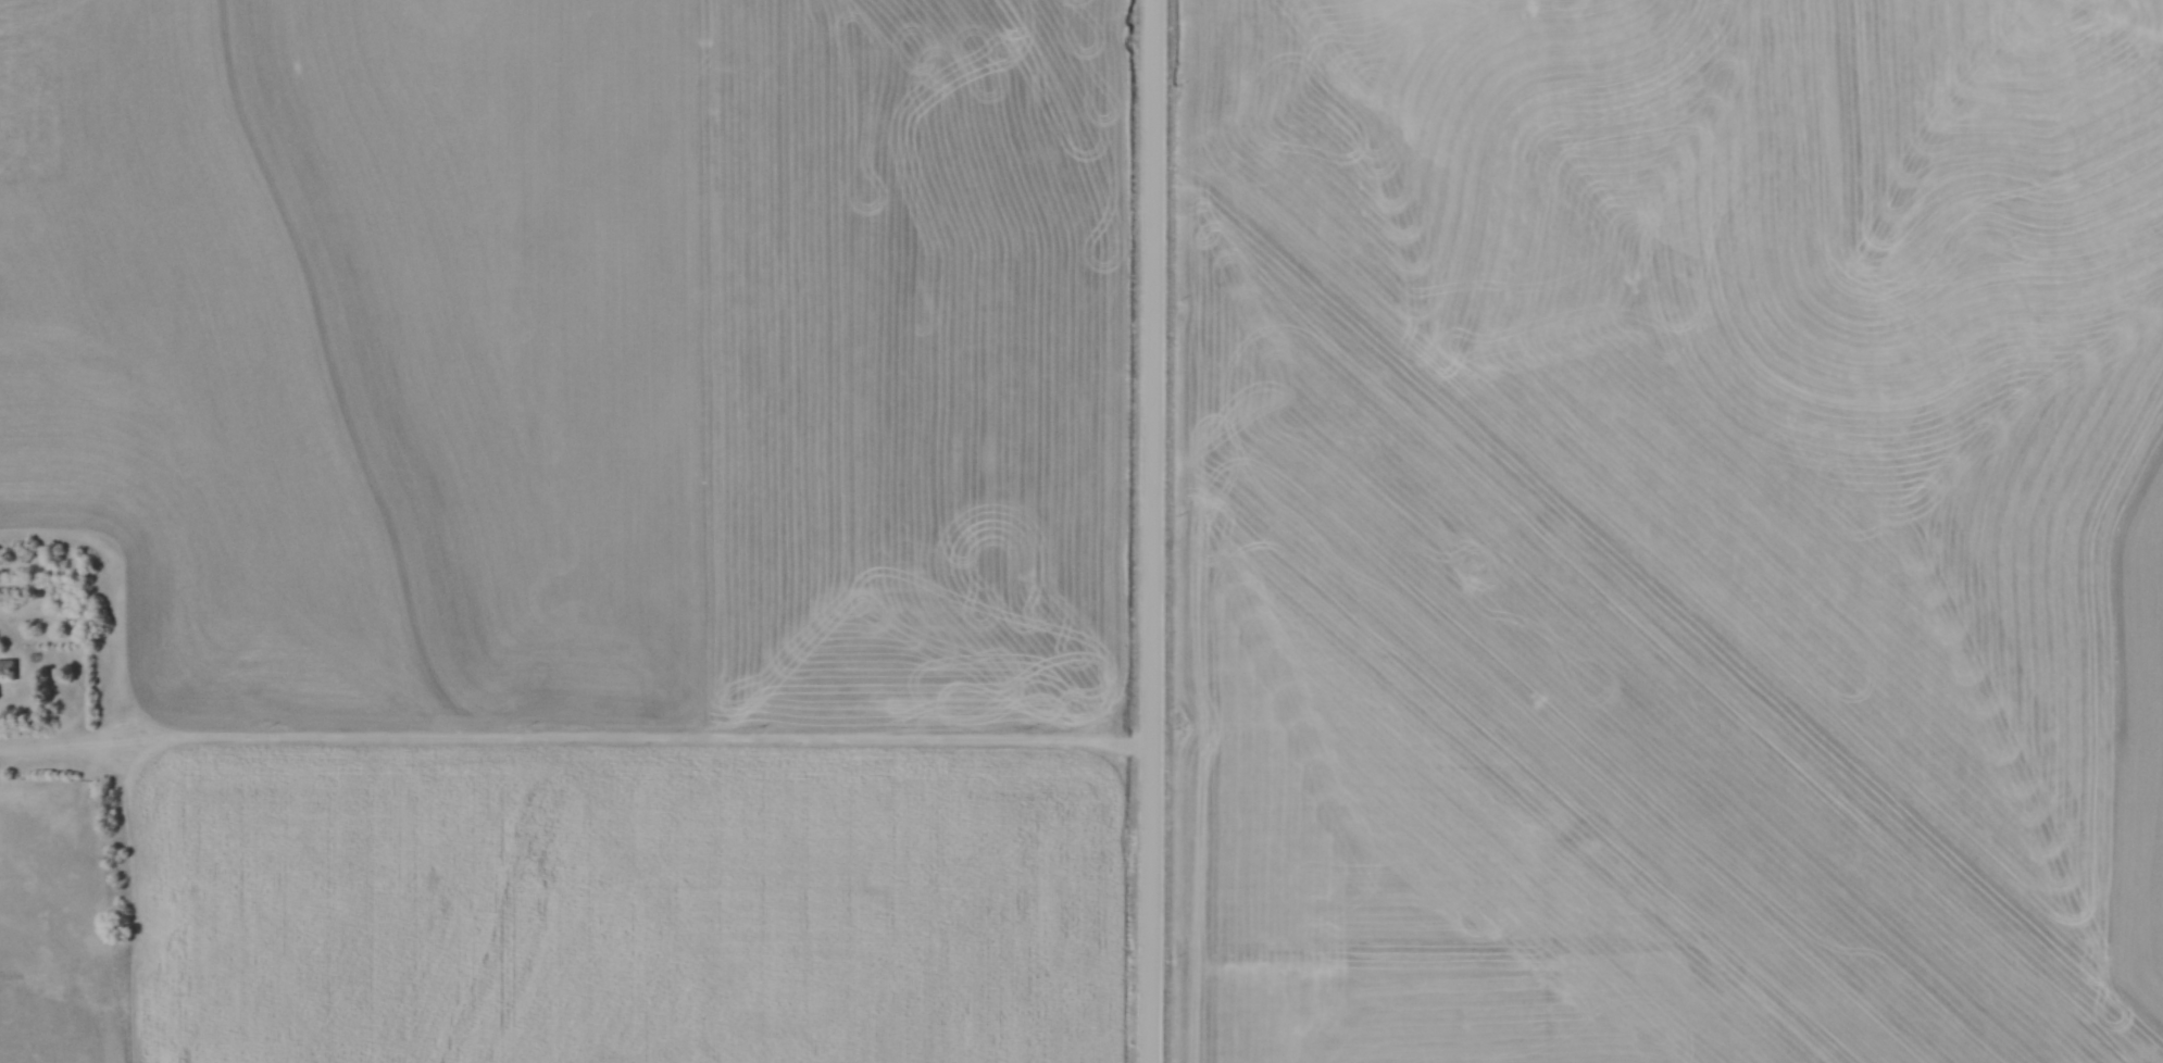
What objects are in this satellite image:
road: (1152, 530)
building: (7, 671)
road: (646, 740)

